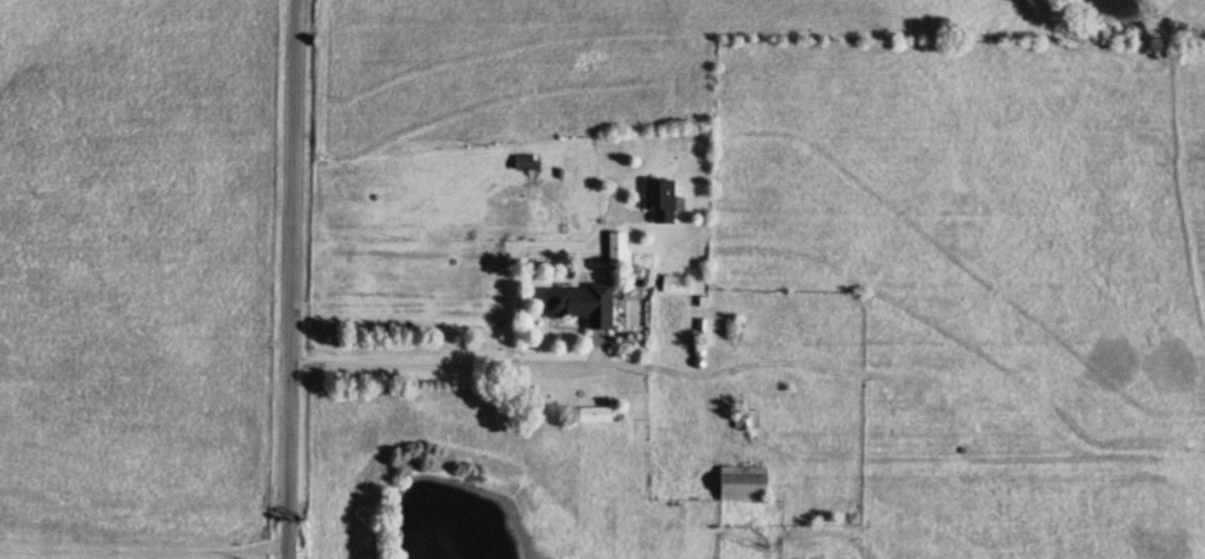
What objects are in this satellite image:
building: (523, 162)
building: (614, 249)
road: (283, 279)
building: (672, 285)
building: (576, 304)
road: (443, 360)
building: (591, 415)
building: (744, 421)
building: (738, 484)

